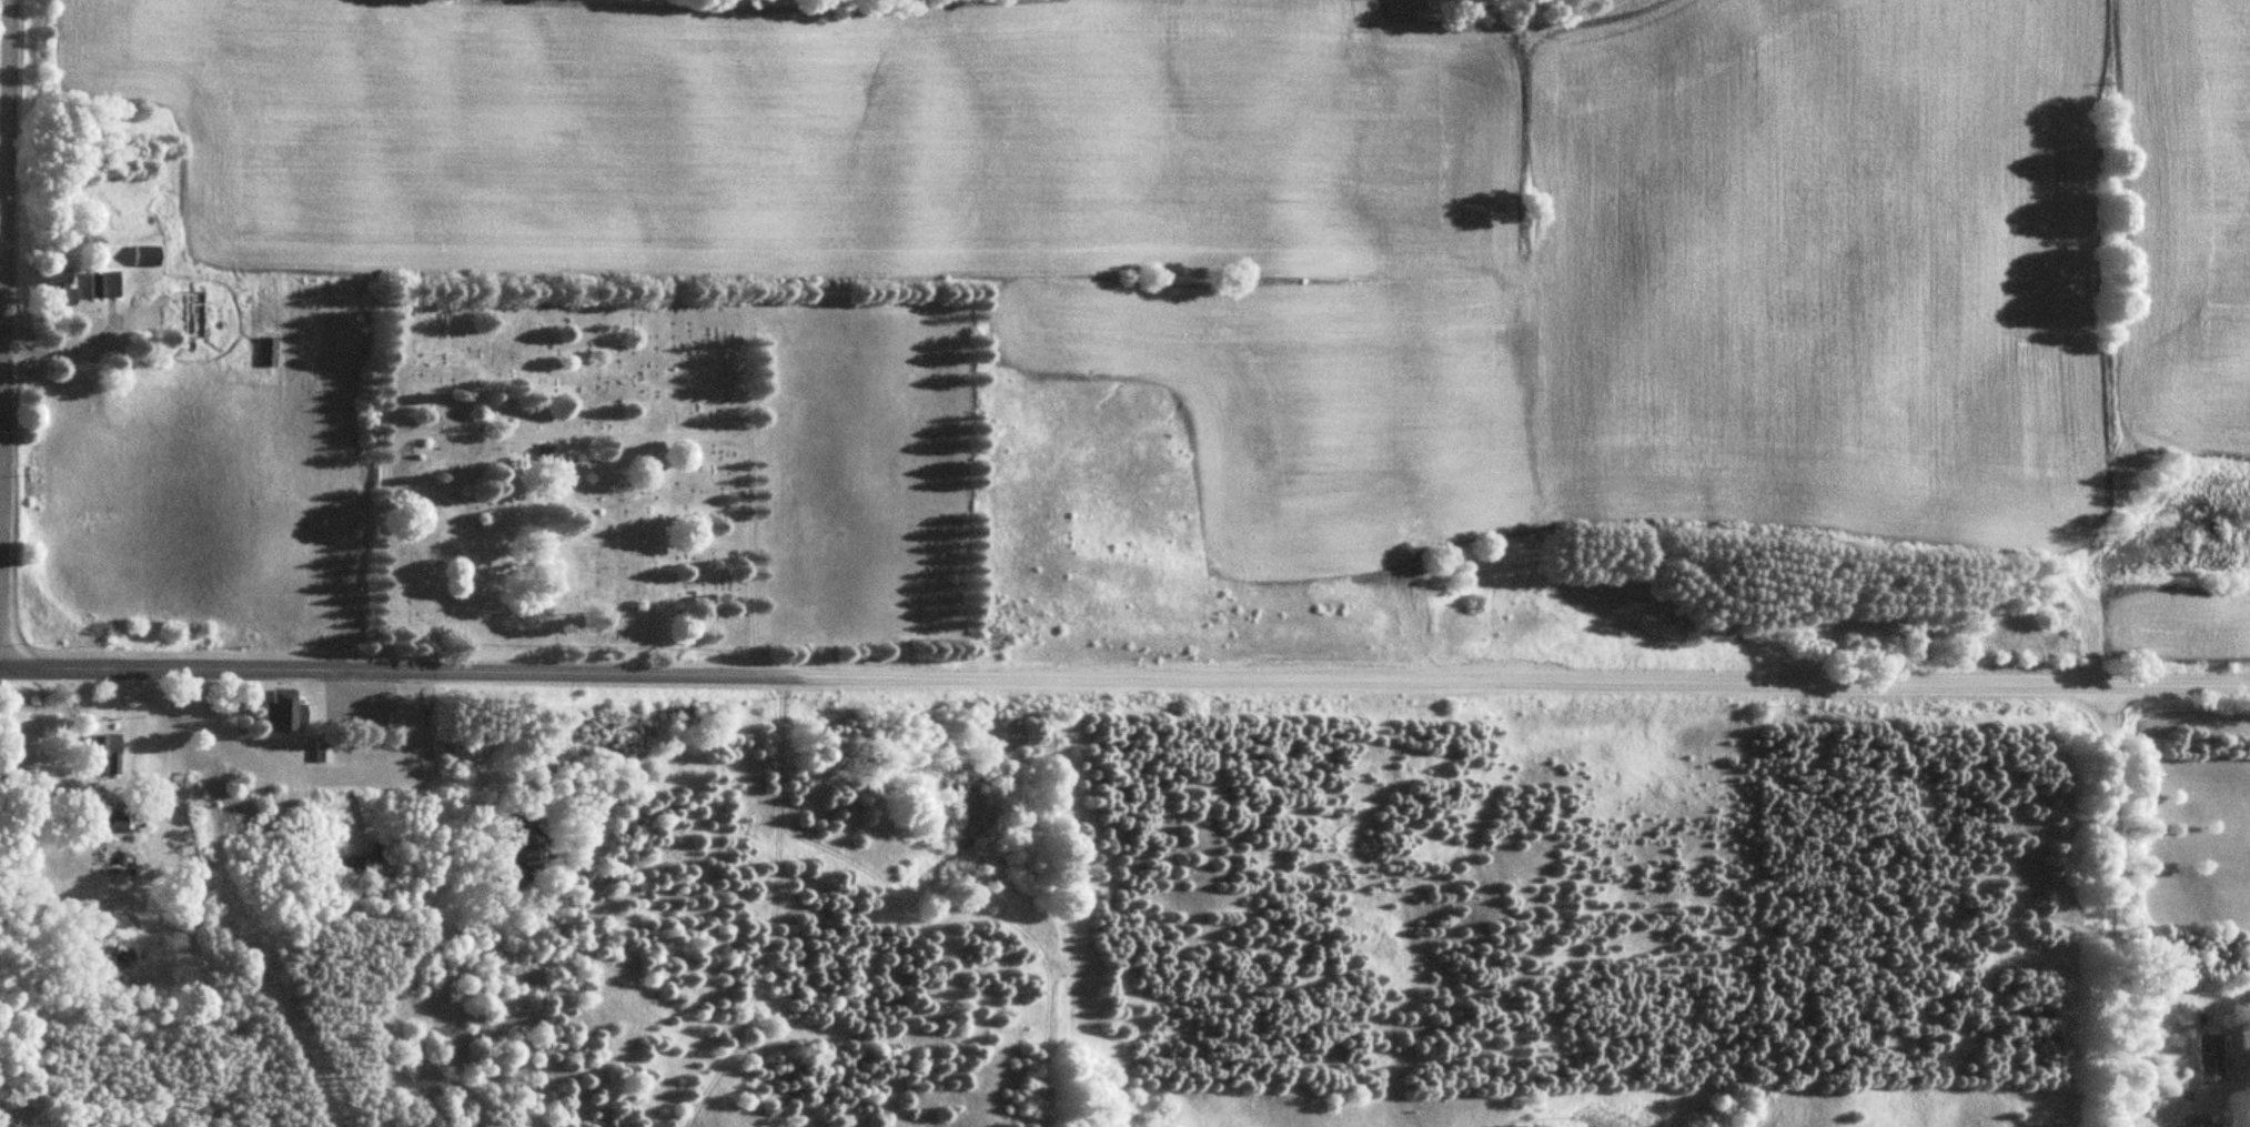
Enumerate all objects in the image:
building: (150, 254)
building: (108, 283)
road: (2, 285)
building: (63, 285)
road: (572, 298)
building: (200, 312)
building: (269, 350)
road: (571, 434)
building: (548, 449)
park: (678, 471)
road: (569, 540)
road: (396, 667)
road: (1522, 676)
building: (287, 708)
building: (325, 748)
building: (115, 753)
building: (121, 819)
road: (2113, 902)
building: (2208, 1058)

